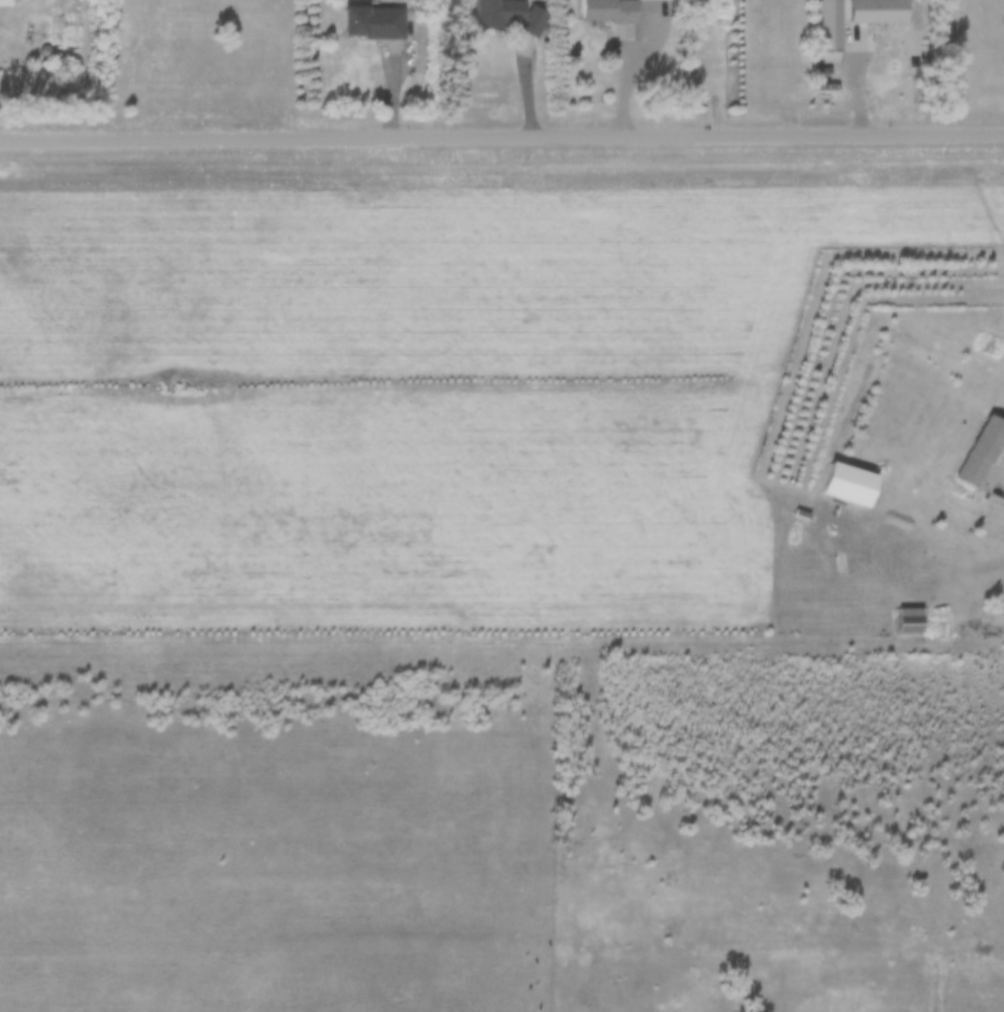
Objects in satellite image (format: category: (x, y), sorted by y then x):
building: (610, 10)
building: (878, 10)
building: (510, 14)
building: (374, 21)
building: (829, 24)
road: (501, 132)
building: (981, 450)
road: (1002, 481)
building: (847, 484)
building: (912, 625)

